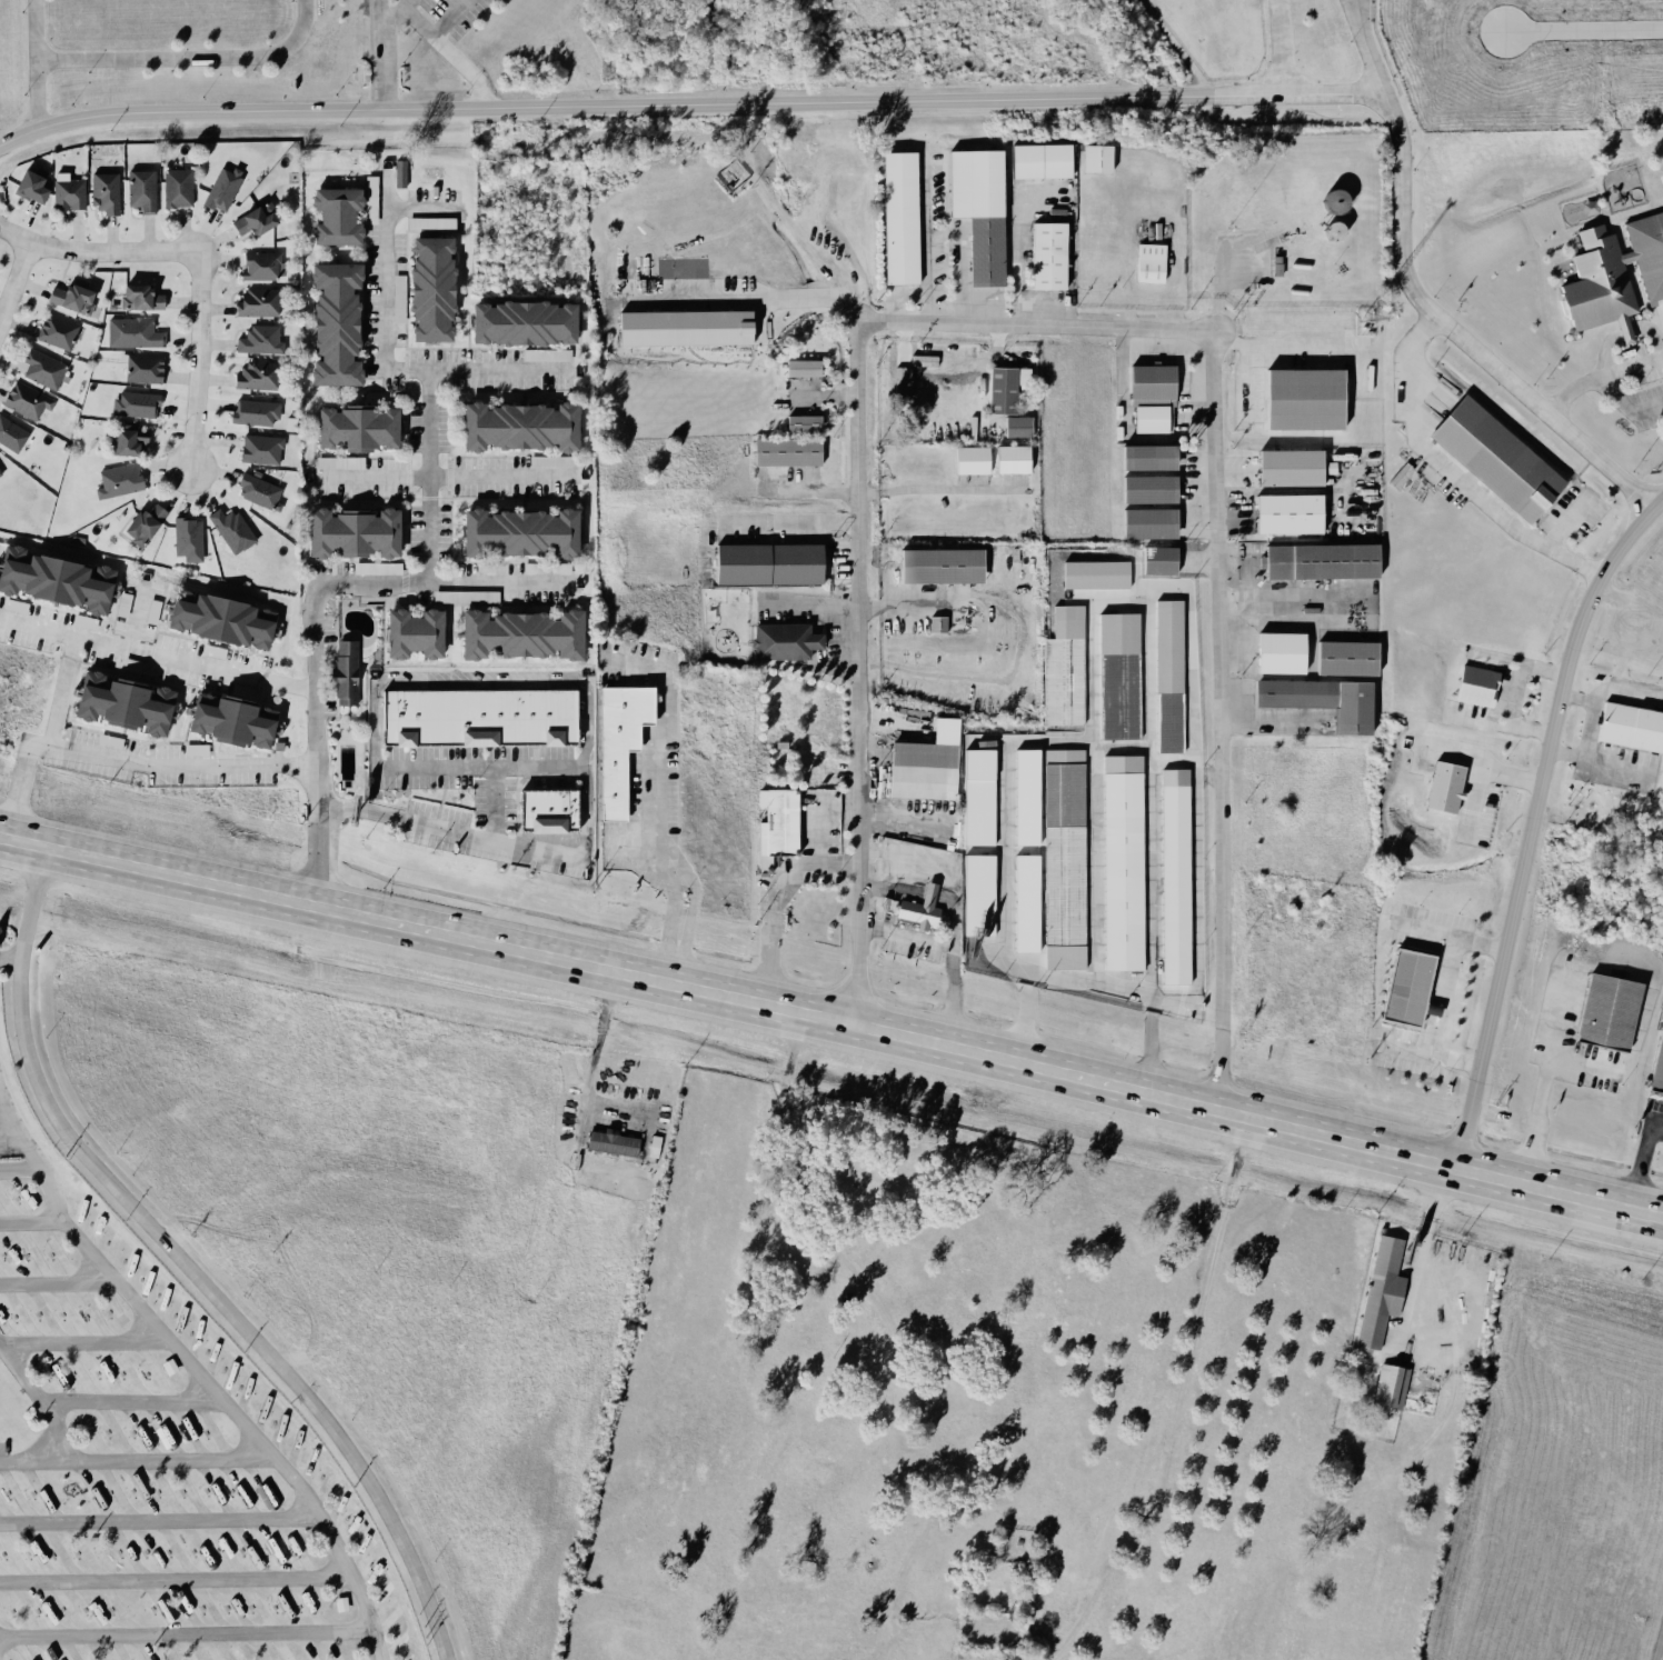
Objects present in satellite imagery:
road: (1362, 7)
road: (415, 8)
road: (458, 21)
road: (33, 29)
road: (1370, 43)
road: (1283, 46)
road: (442, 48)
road: (380, 54)
road: (185, 56)
road: (1340, 89)
road: (38, 92)
road: (379, 110)
building: (1094, 157)
building: (1037, 159)
building: (399, 172)
building: (28, 183)
building: (176, 187)
building: (220, 188)
building: (140, 189)
building: (67, 191)
building: (103, 191)
building: (1330, 200)
building: (976, 209)
building: (332, 214)
building: (897, 217)
building: (251, 219)
building: (429, 222)
road: (926, 244)
road: (111, 254)
building: (1045, 254)
building: (1147, 262)
building: (260, 264)
road: (17, 268)
building: (1613, 273)
building: (427, 288)
building: (68, 297)
building: (138, 297)
building: (256, 301)
road: (745, 303)
building: (519, 321)
building: (332, 323)
building: (680, 327)
road: (1067, 328)
building: (54, 331)
building: (131, 332)
building: (258, 339)
building: (545, 353)
road: (196, 363)
road: (381, 364)
building: (800, 367)
building: (40, 368)
building: (141, 368)
building: (255, 374)
road: (1599, 377)
building: (1003, 387)
building: (1149, 397)
building: (1299, 398)
building: (24, 399)
building: (133, 403)
road: (1625, 408)
building: (252, 411)
building: (800, 422)
building: (515, 426)
building: (1016, 426)
building: (352, 427)
building: (10, 434)
building: (126, 439)
road: (1411, 444)
building: (259, 449)
building: (784, 451)
building: (1144, 456)
building: (1008, 458)
building: (1493, 458)
building: (968, 459)
building: (338, 461)
building: (1286, 467)
road: (426, 474)
building: (0, 476)
road: (441, 476)
building: (117, 480)
building: (1145, 488)
building: (257, 491)
road: (938, 491)
building: (1285, 512)
road: (791, 518)
building: (1145, 522)
building: (140, 524)
building: (229, 529)
building: (348, 532)
building: (515, 532)
building: (186, 538)
road: (1562, 553)
building: (1156, 559)
building: (1316, 560)
building: (766, 563)
building: (937, 566)
building: (376, 568)
building: (1093, 573)
building: (52, 580)
road: (427, 580)
building: (465, 596)
road: (815, 599)
road: (1092, 603)
building: (216, 619)
building: (936, 623)
road: (41, 632)
building: (409, 632)
building: (517, 633)
building: (783, 640)
road: (1018, 640)
building: (1277, 652)
road: (817, 653)
road: (142, 656)
building: (1343, 658)
building: (1062, 668)
building: (343, 672)
road: (1517, 673)
building: (1117, 676)
building: (1168, 676)
building: (1474, 684)
building: (1318, 700)
building: (118, 702)
building: (476, 717)
building: (227, 720)
road: (1501, 723)
building: (1630, 727)
building: (615, 742)
road: (316, 760)
road: (1168, 761)
road: (125, 763)
road: (469, 763)
road: (1481, 763)
building: (917, 770)
road: (1204, 770)
building: (1442, 788)
building: (1023, 796)
building: (975, 797)
road: (1473, 799)
road: (491, 801)
road: (656, 808)
building: (546, 810)
road: (1531, 820)
road: (819, 828)
road: (1095, 837)
building: (1062, 859)
road: (1193, 861)
building: (1121, 862)
building: (1173, 876)
road: (894, 892)
building: (976, 893)
road: (935, 898)
road: (775, 900)
building: (1024, 902)
building: (916, 908)
road: (1448, 933)
road: (909, 939)
road: (11, 960)
road: (958, 970)
building: (1404, 987)
road: (1444, 994)
road: (727, 1000)
building: (1605, 1010)
road: (1430, 1053)
road: (1583, 1063)
building: (1657, 1063)
road: (588, 1066)
road: (1544, 1076)
road: (9, 1136)
building: (609, 1142)
road: (1640, 1159)
road: (1557, 1188)
road: (38, 1212)
road: (1423, 1247)
road: (190, 1266)
road: (61, 1276)
building: (1380, 1291)
road: (98, 1336)
road: (217, 1368)
road: (40, 1380)
building: (1390, 1384)
road: (147, 1397)
road: (1183, 1402)
road: (139, 1448)
road: (159, 1510)
road: (177, 1578)
building: (339, 1602)
road: (189, 1628)
road: (2, 1646)

